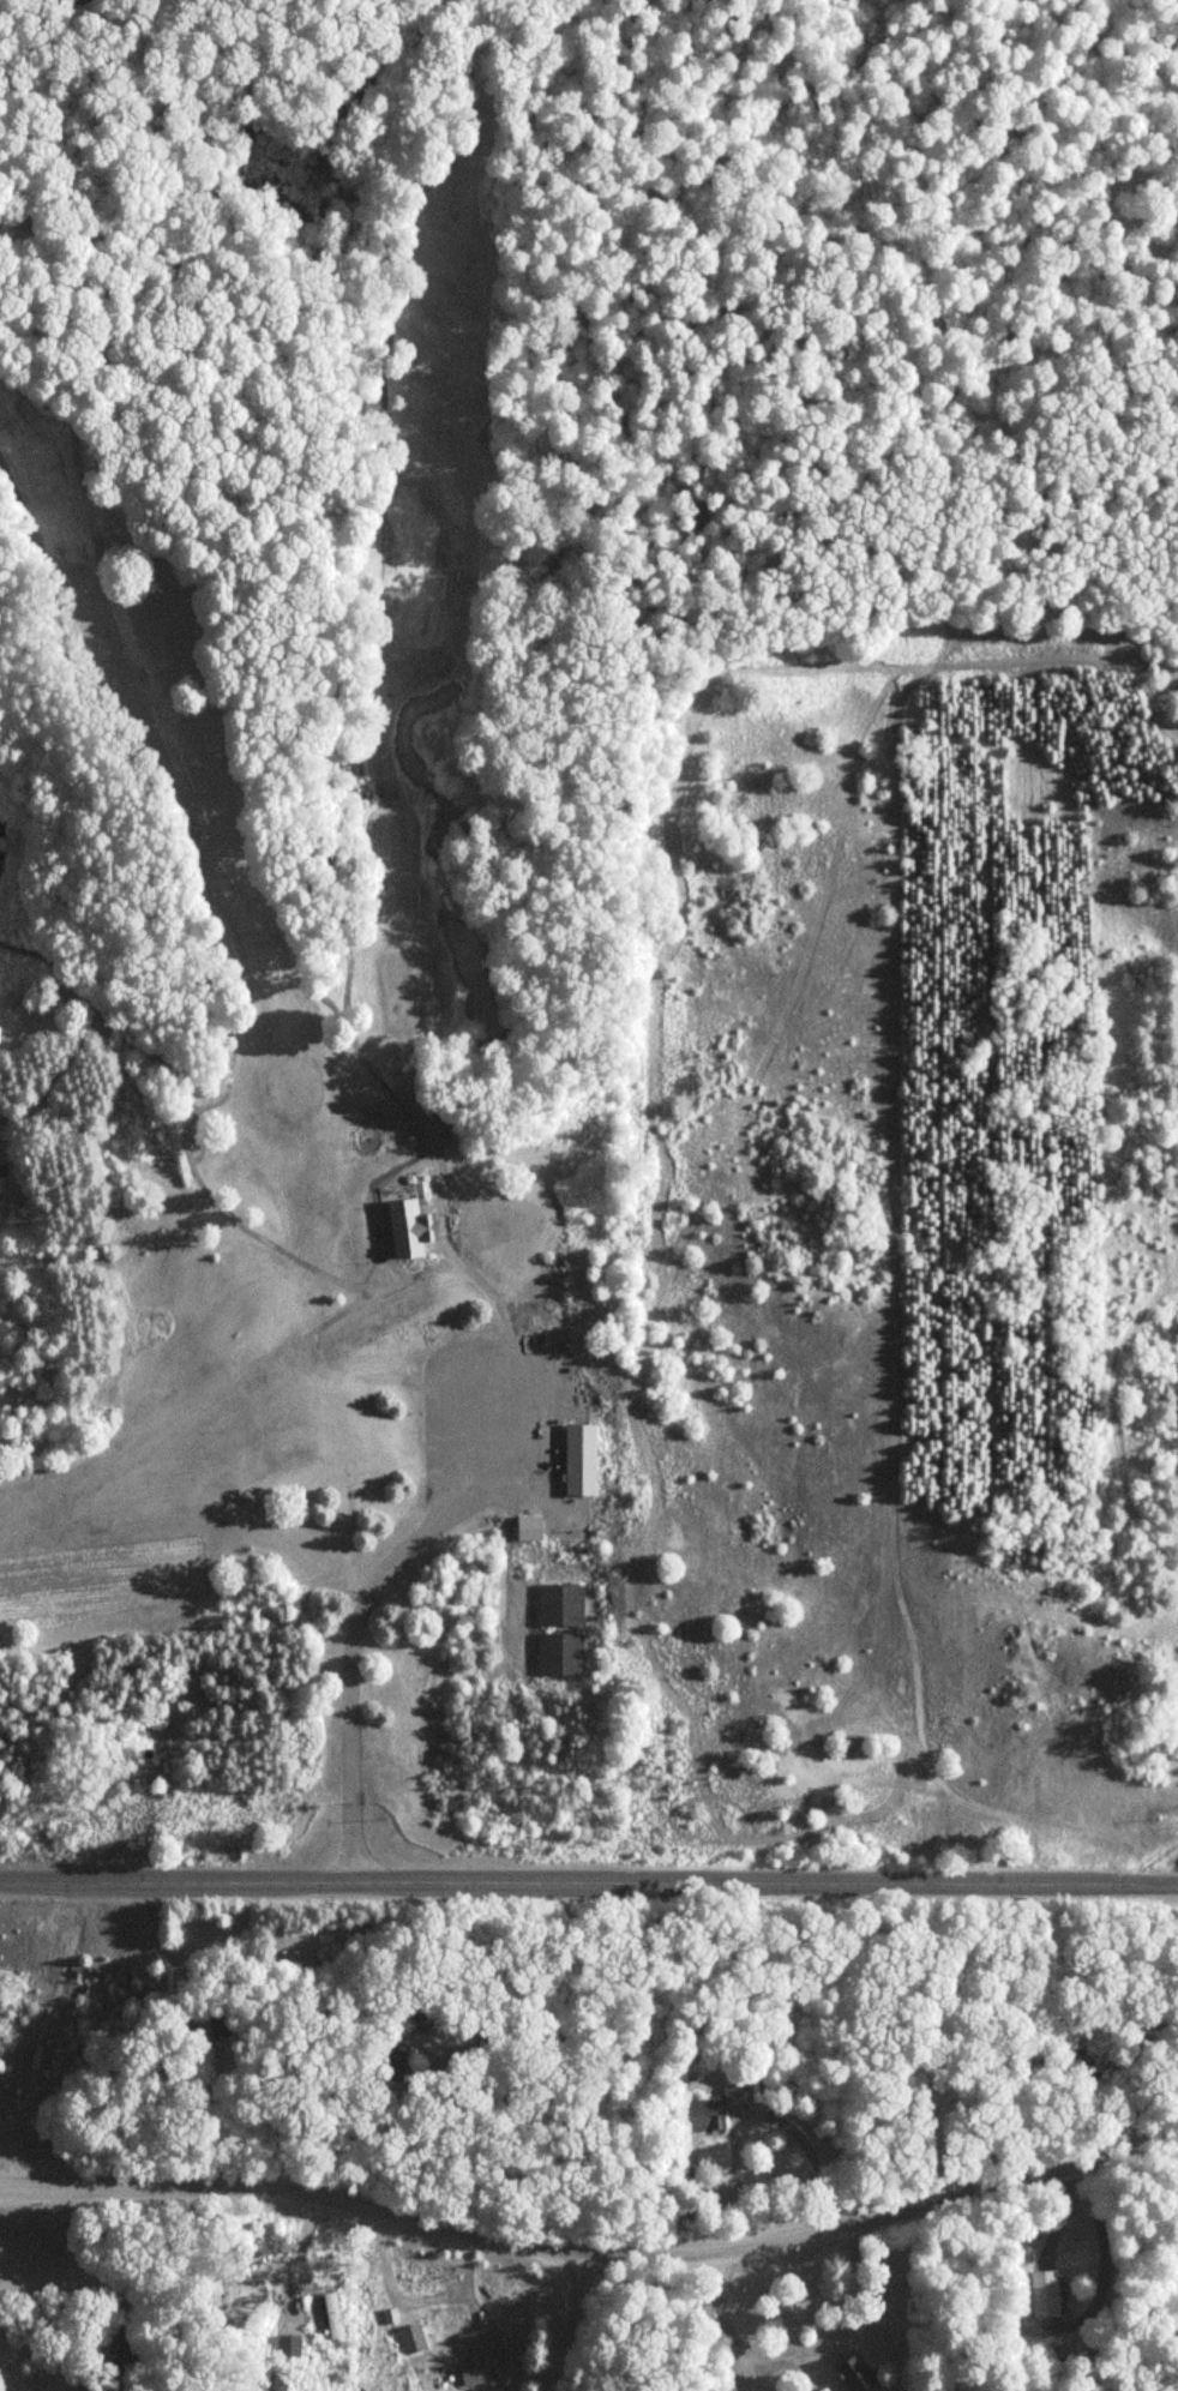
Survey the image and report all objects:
park: (315, 930)
building: (2, 1169)
building: (405, 1227)
parking lot: (498, 1426)
building: (582, 1458)
road: (467, 1500)
building: (530, 1527)
building: (561, 1604)
building: (561, 1653)
road: (589, 1879)
building: (221, 2027)
building: (713, 2109)
road: (590, 2249)
building: (1046, 2290)
building: (216, 2307)
building: (333, 2313)
road: (565, 2320)
building: (122, 2342)
building: (483, 2357)
road: (7, 2369)
building: (858, 2373)

